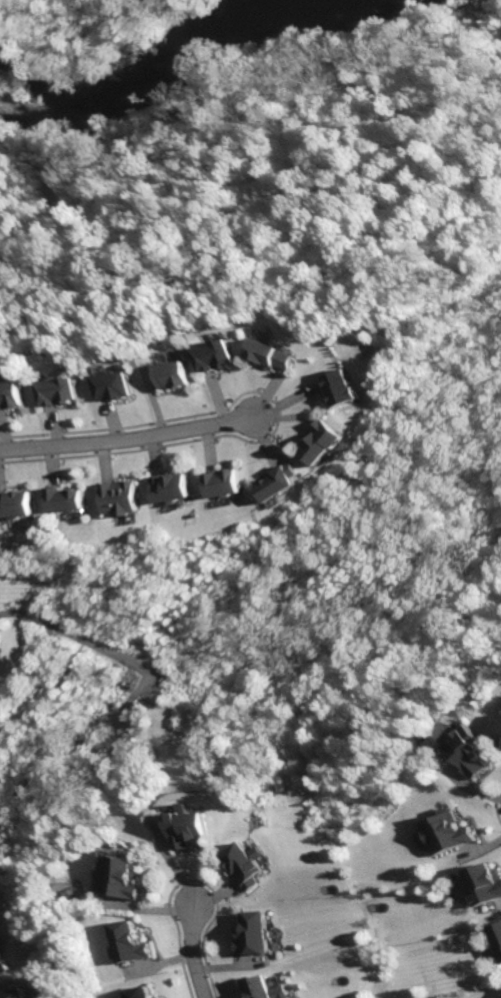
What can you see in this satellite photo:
building: (221, 354)
building: (273, 354)
building: (177, 373)
building: (118, 384)
building: (340, 388)
building: (65, 391)
building: (15, 393)
road: (126, 439)
building: (323, 441)
building: (279, 480)
building: (222, 482)
building: (169, 487)
building: (63, 497)
building: (116, 497)
building: (15, 503)
road: (74, 634)
road: (51, 693)
building: (473, 750)
road: (495, 810)
building: (194, 826)
building: (447, 830)
building: (251, 863)
building: (128, 876)
road: (193, 879)
building: (485, 883)
building: (258, 933)
building: (497, 938)
building: (129, 942)
road: (192, 952)
building: (4, 962)
building: (266, 987)
building: (140, 992)
building: (14, 994)

